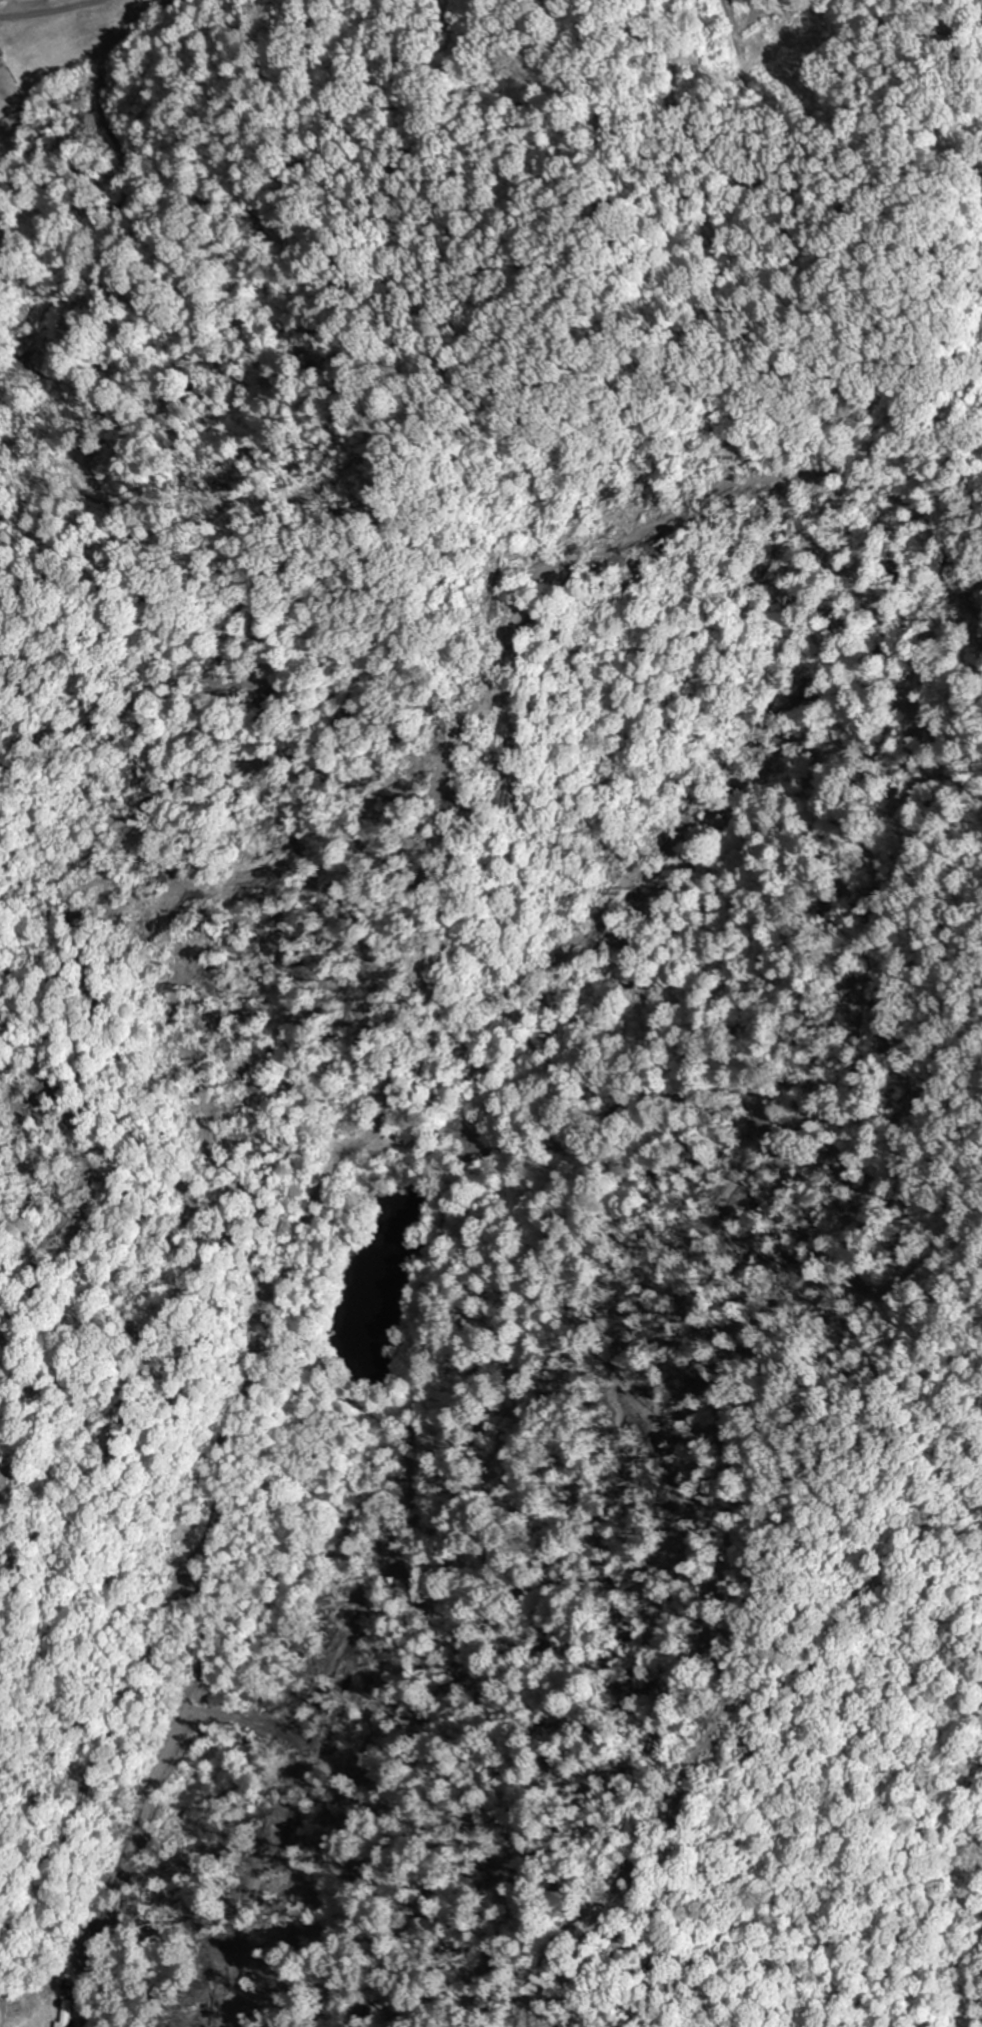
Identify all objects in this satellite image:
building: (1, 60)
building: (61, 2014)

